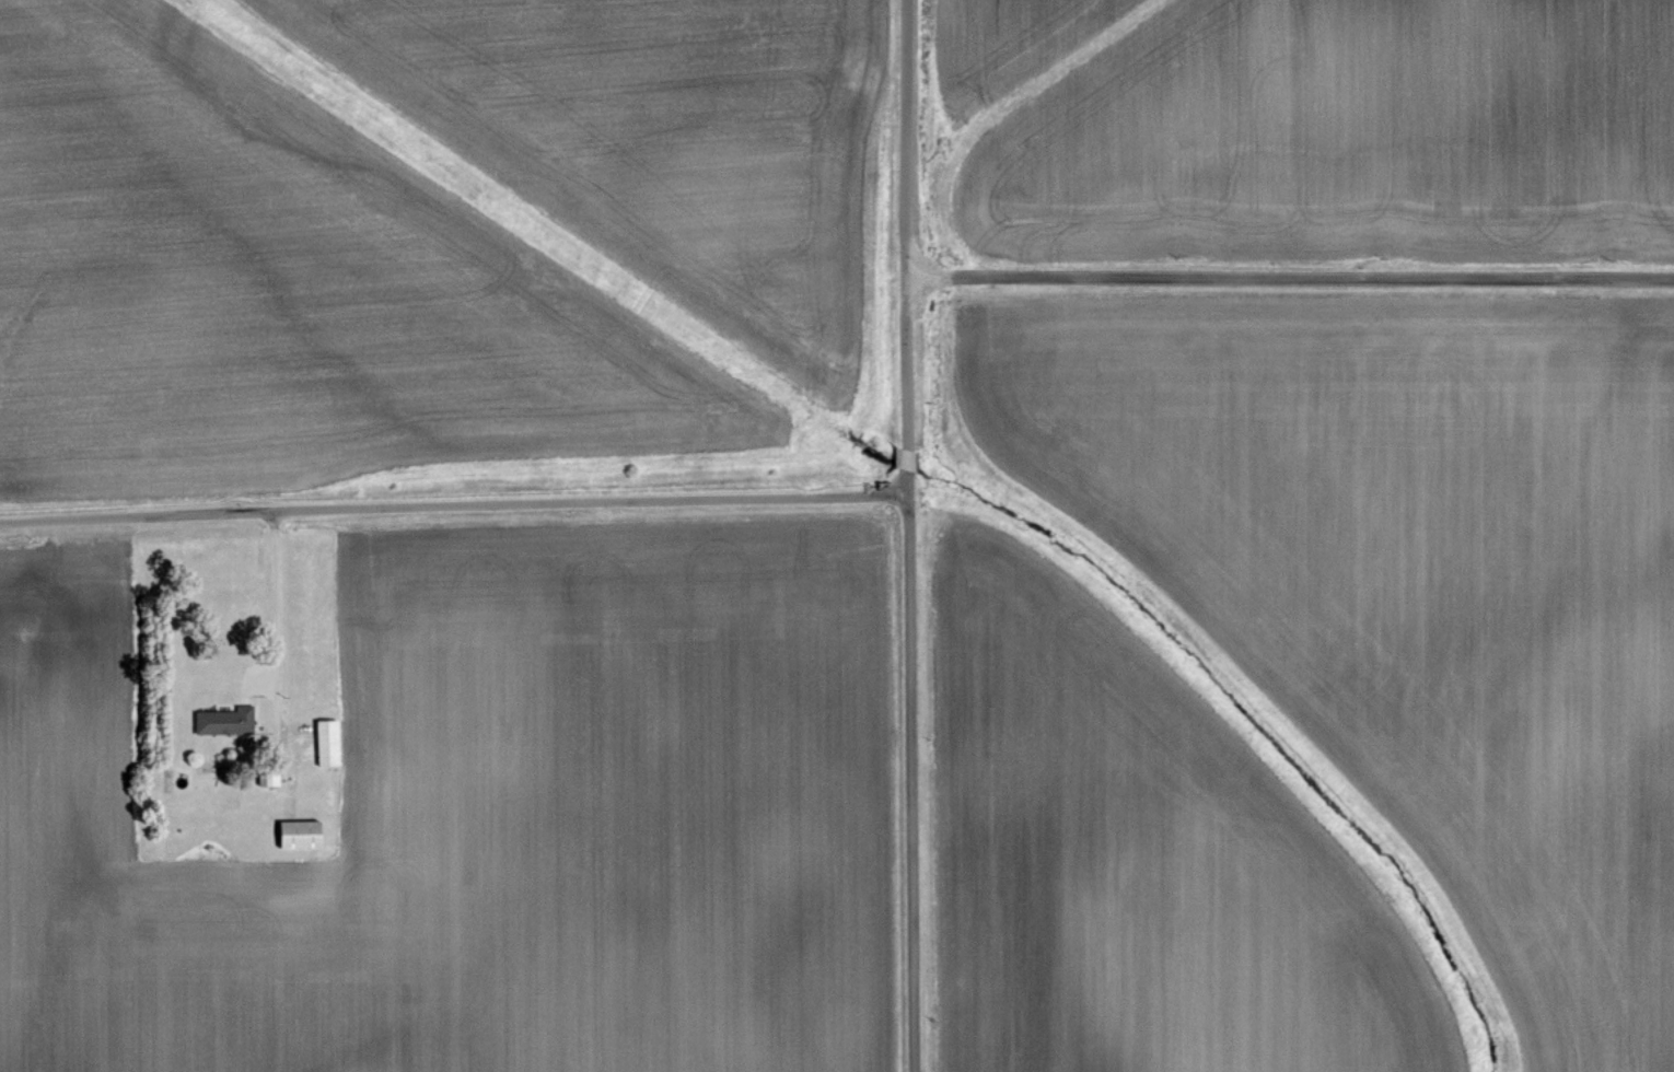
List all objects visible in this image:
road: (1290, 277)
road: (453, 504)
road: (908, 535)
road: (274, 621)
building: (224, 720)
building: (298, 834)

